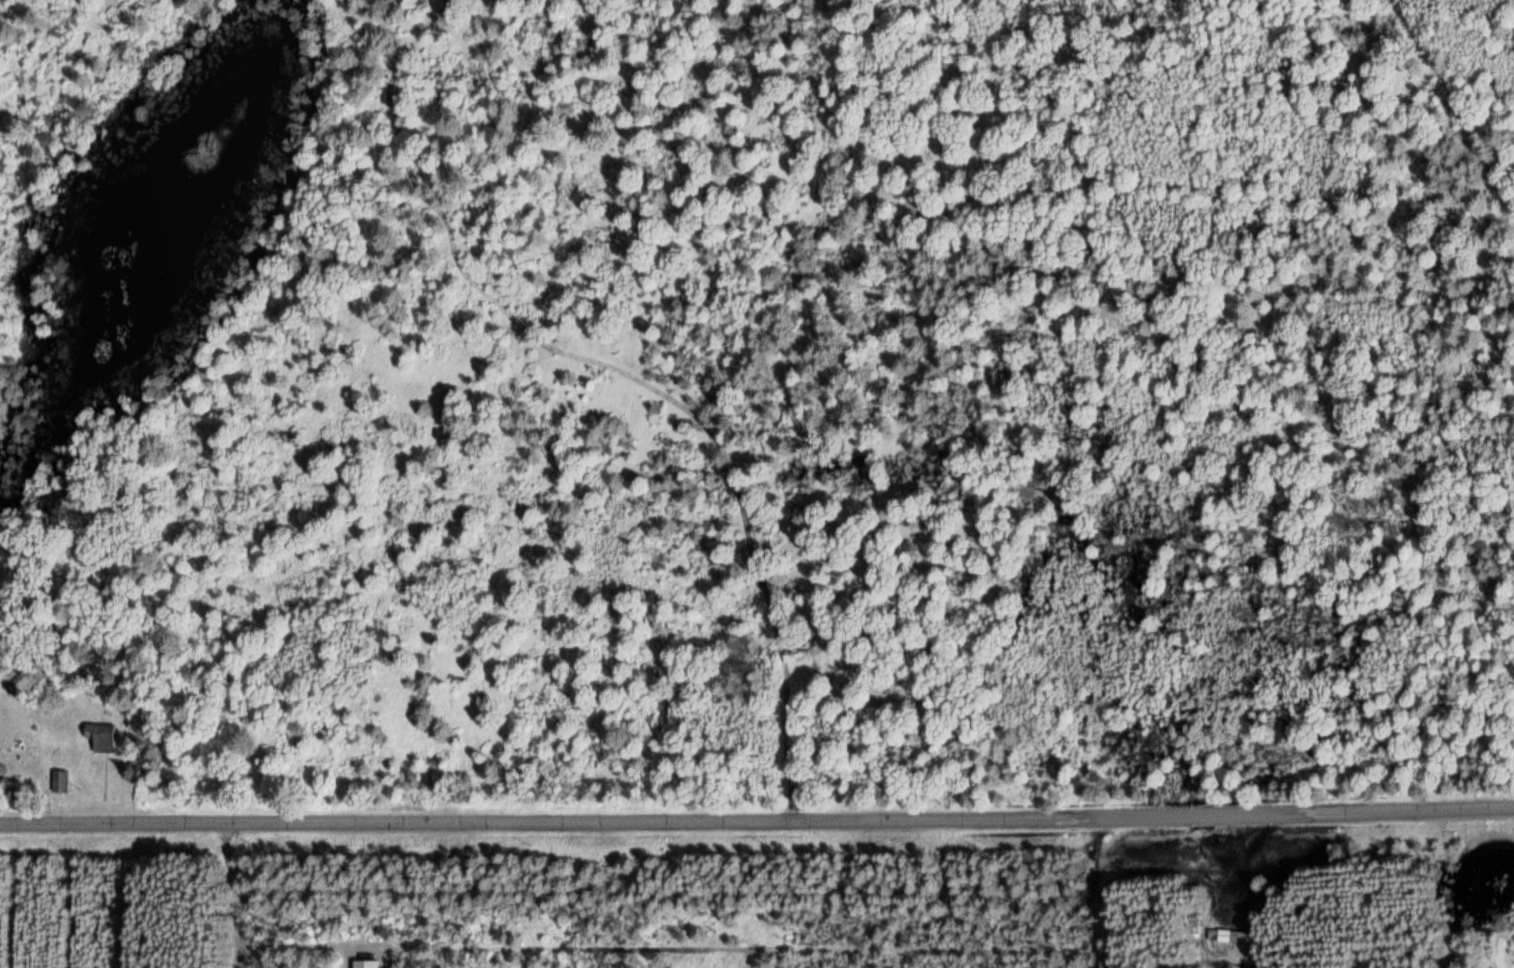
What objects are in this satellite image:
building: (101, 736)
building: (59, 781)
road: (757, 812)
road: (76, 894)
building: (1189, 923)
building: (1228, 935)

